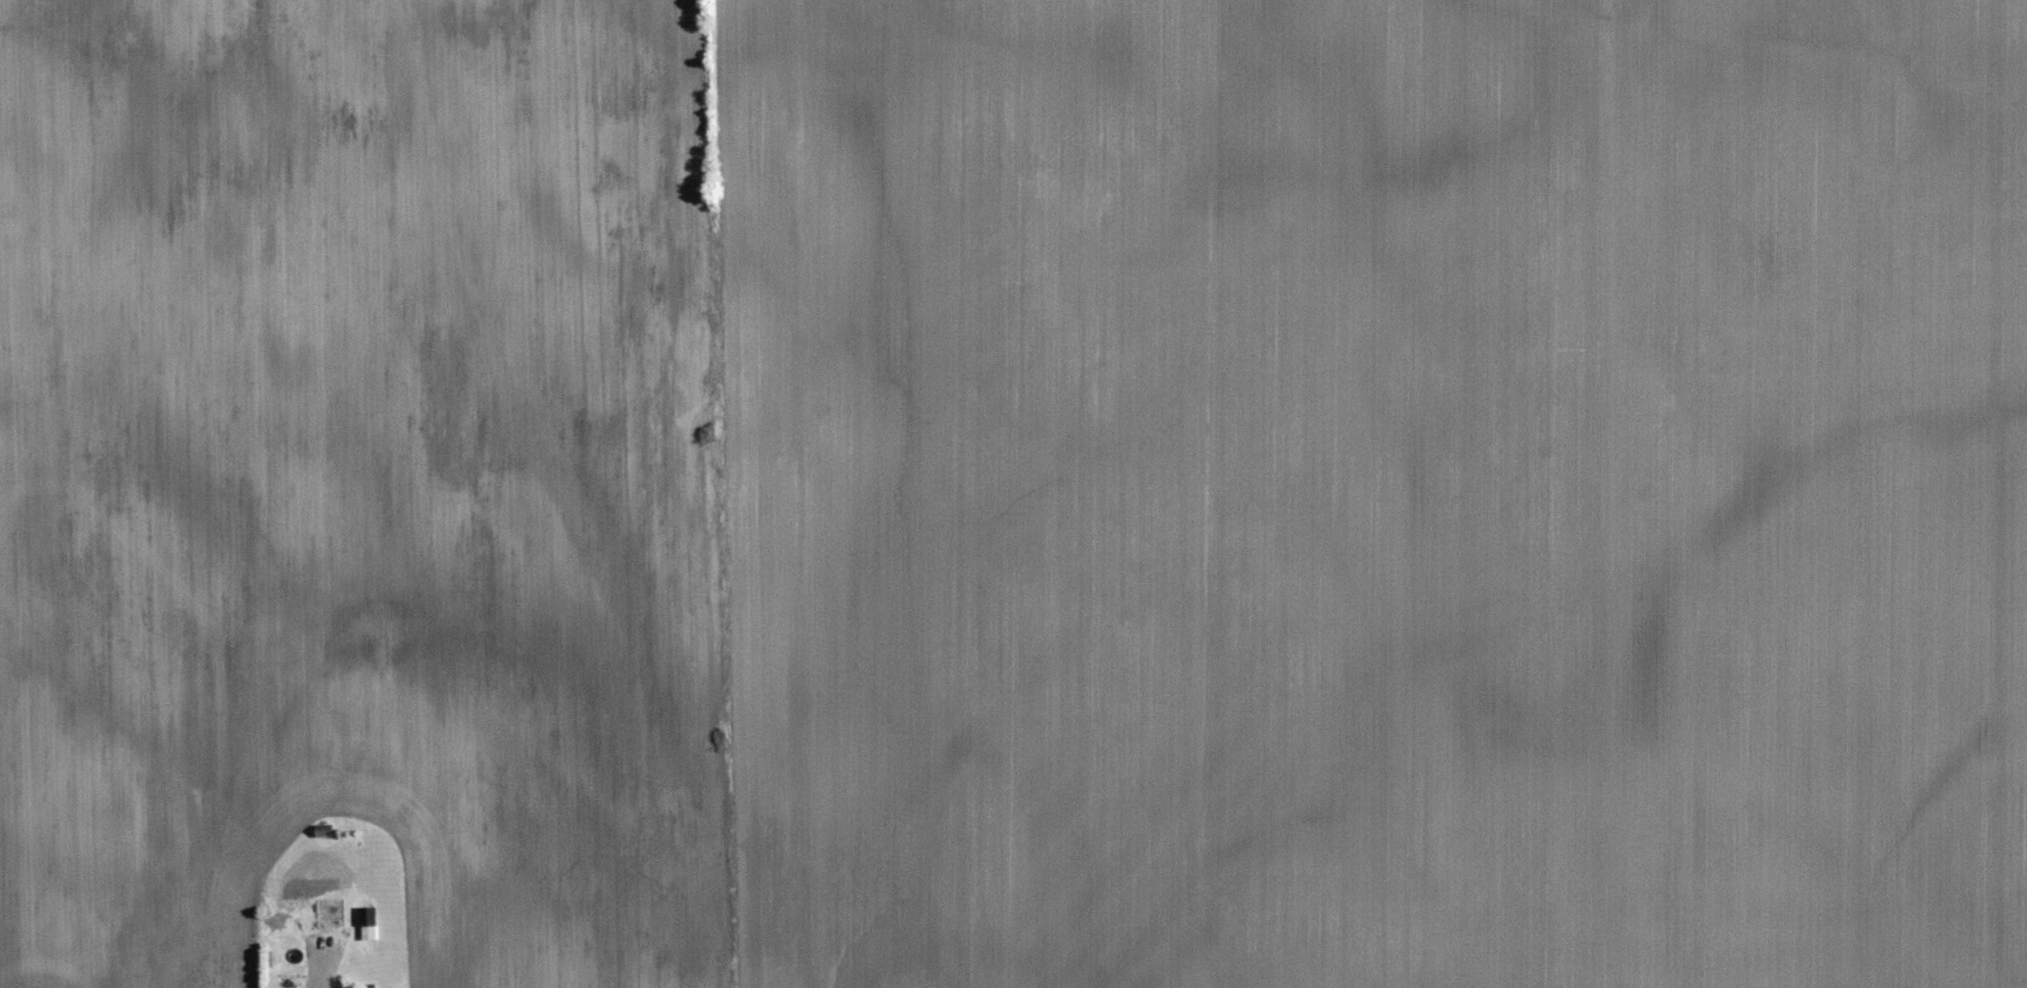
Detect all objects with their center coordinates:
building: (321, 921)

